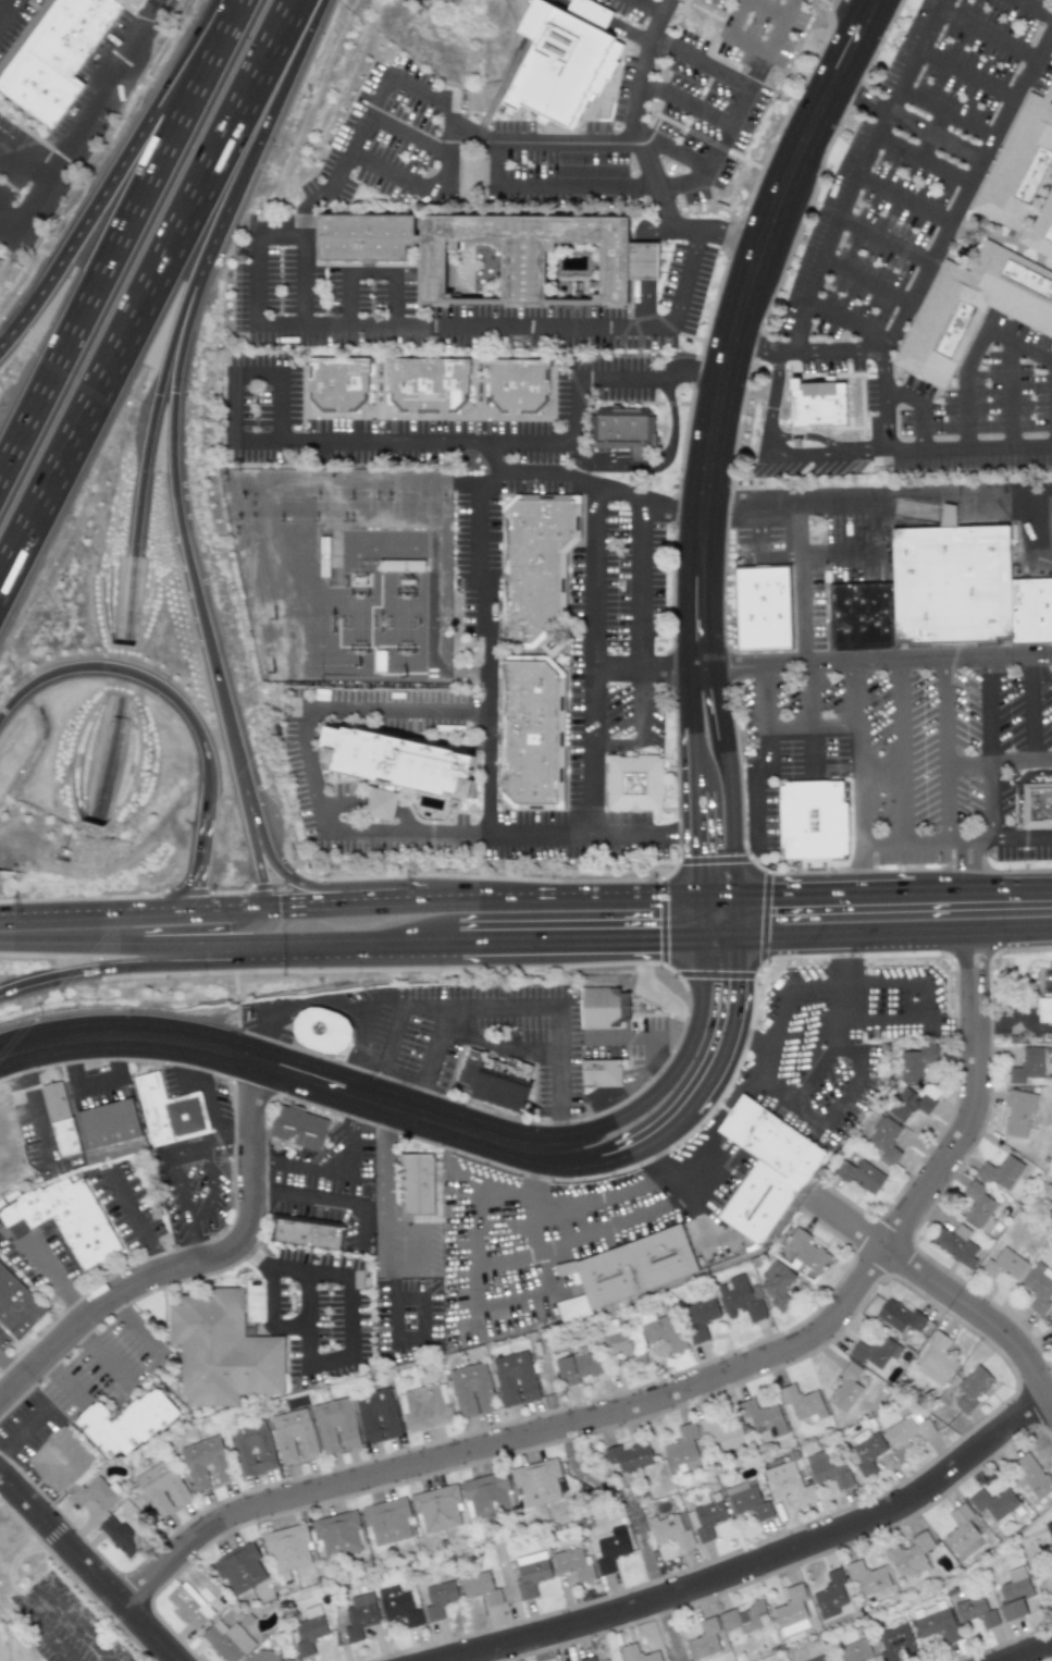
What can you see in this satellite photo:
road: (4, 0)
road: (2, 4)
road: (647, 7)
road: (767, 9)
road: (1032, 9)
road: (151, 16)
road: (737, 17)
road: (607, 20)
road: (656, 20)
road: (840, 29)
road: (988, 32)
parking lot: (765, 35)
road: (775, 35)
road: (747, 46)
building: (65, 58)
building: (562, 60)
road: (707, 67)
road: (966, 74)
road: (391, 77)
road: (683, 102)
road: (945, 114)
road: (908, 122)
road: (632, 128)
road: (79, 131)
road: (406, 133)
road: (610, 139)
road: (921, 160)
building: (1027, 163)
road: (23, 168)
road: (856, 171)
road: (123, 176)
road: (329, 186)
road: (523, 188)
road: (903, 198)
road: (9, 222)
road: (301, 223)
road: (717, 232)
building: (1047, 232)
road: (944, 233)
road: (280, 234)
road: (882, 238)
road: (125, 245)
road: (645, 270)
road: (370, 272)
building: (640, 273)
road: (256, 279)
road: (302, 280)
road: (865, 280)
building: (1017, 294)
road: (151, 295)
road: (347, 299)
road: (394, 299)
road: (740, 321)
road: (847, 321)
road: (513, 327)
building: (939, 329)
traffic signals: (174, 333)
road: (1018, 345)
road: (809, 349)
road: (257, 373)
road: (651, 377)
road: (963, 386)
building: (344, 387)
building: (434, 389)
building: (524, 389)
traffic signals: (157, 395)
road: (1011, 395)
building: (817, 404)
road: (234, 406)
road: (280, 406)
road: (918, 409)
road: (574, 410)
building: (630, 431)
road: (148, 433)
road: (809, 436)
road: (671, 438)
road: (404, 441)
road: (969, 448)
road: (777, 456)
road: (493, 458)
road: (597, 462)
road: (172, 471)
road: (604, 487)
road: (878, 495)
road: (1030, 522)
power tower: (350, 524)
road: (760, 545)
road: (866, 553)
building: (543, 568)
power substation: (347, 573)
road: (801, 580)
building: (951, 582)
road: (642, 585)
building: (1031, 606)
building: (769, 613)
building: (861, 615)
power tower: (330, 629)
road: (486, 643)
road: (593, 660)
power tower: (327, 661)
road: (822, 663)
road: (144, 678)
road: (686, 697)
road: (1029, 708)
road: (810, 716)
road: (814, 728)
road: (643, 729)
building: (539, 737)
road: (989, 748)
road: (942, 749)
road: (902, 751)
road: (686, 759)
road: (107, 760)
road: (767, 760)
road: (1020, 761)
building: (401, 763)
road: (966, 764)
road: (310, 765)
road: (739, 771)
road: (862, 771)
building: (640, 787)
road: (1017, 789)
building: (1037, 804)
building: (820, 825)
road: (587, 836)
road: (691, 837)
road: (957, 841)
traffic signals: (691, 852)
road: (255, 854)
road: (201, 858)
road: (969, 860)
road: (994, 876)
road: (839, 882)
road: (716, 885)
traffic signals: (778, 885)
road: (559, 886)
road: (394, 890)
road: (312, 895)
traffic signals: (263, 897)
traffic signals: (190, 899)
road: (131, 900)
road: (692, 919)
road: (230, 932)
road: (895, 946)
road: (716, 951)
road: (71, 952)
road: (578, 953)
traffic signals: (654, 953)
road: (163, 955)
road: (209, 958)
road: (347, 958)
road: (114, 972)
traffic signals: (739, 984)
road: (383, 1000)
road: (924, 1004)
road: (332, 1005)
building: (604, 1007)
road: (505, 1008)
building: (1044, 1010)
building: (322, 1031)
road: (616, 1036)
road: (752, 1037)
road: (502, 1046)
road: (431, 1060)
road: (661, 1062)
building: (916, 1062)
building: (1027, 1065)
road: (819, 1066)
road: (717, 1068)
road: (389, 1071)
road: (288, 1072)
road: (666, 1072)
building: (599, 1073)
building: (495, 1080)
road: (97, 1086)
road: (845, 1096)
building: (913, 1102)
road: (36, 1109)
road: (725, 1109)
building: (169, 1112)
building: (1018, 1112)
building: (59, 1119)
road: (218, 1123)
building: (108, 1124)
building: (297, 1127)
building: (884, 1139)
road: (237, 1140)
building: (764, 1169)
road: (669, 1172)
building: (1001, 1172)
road: (342, 1173)
building: (861, 1177)
building: (416, 1183)
road: (214, 1191)
road: (477, 1192)
road: (321, 1201)
building: (978, 1205)
road: (186, 1207)
road: (388, 1217)
building: (65, 1218)
road: (135, 1219)
road: (359, 1225)
building: (306, 1232)
building: (954, 1244)
road: (562, 1245)
building: (807, 1252)
road: (191, 1264)
building: (1003, 1265)
building: (628, 1268)
road: (53, 1279)
building: (776, 1285)
road: (547, 1288)
building: (1038, 1288)
road: (945, 1293)
building: (740, 1300)
building: (16, 1306)
road: (269, 1315)
building: (898, 1315)
building: (700, 1317)
road: (348, 1326)
building: (1050, 1328)
road: (136, 1330)
building: (660, 1330)
building: (620, 1343)
building: (221, 1350)
road: (109, 1352)
building: (876, 1352)
building: (936, 1361)
building: (578, 1368)
road: (9, 1374)
building: (515, 1378)
road: (64, 1385)
building: (845, 1388)
building: (970, 1388)
building: (470, 1390)
road: (671, 1394)
building: (802, 1403)
building: (423, 1407)
building: (376, 1415)
building: (763, 1419)
building: (125, 1423)
building: (334, 1425)
building: (907, 1430)
building: (721, 1435)
building: (293, 1436)
road: (24, 1438)
building: (682, 1445)
building: (252, 1448)
building: (866, 1451)
building: (628, 1455)
building: (60, 1461)
building: (205, 1462)
building: (827, 1467)
building: (1031, 1476)
building: (536, 1482)
building: (788, 1482)
building: (161, 1488)
building: (96, 1493)
building: (486, 1494)
road: (626, 1499)
building: (747, 1501)
building: (993, 1502)
building: (436, 1509)
building: (706, 1517)
building: (386, 1521)
building: (1049, 1529)
building: (671, 1530)
building: (337, 1535)
building: (119, 1537)
building: (287, 1548)
building: (610, 1549)
building: (911, 1554)
road: (762, 1561)
building: (573, 1564)
building: (239, 1567)
road: (89, 1568)
building: (531, 1573)
building: (867, 1577)
road: (44, 1587)
building: (480, 1588)
building: (1014, 1594)
building: (830, 1595)
building: (438, 1599)
building: (187, 1605)
building: (397, 1605)
building: (975, 1611)
building: (791, 1612)
building: (359, 1615)
building: (745, 1617)
building: (935, 1622)
road: (668, 1629)
building: (308, 1631)
building: (227, 1640)
building: (703, 1640)
building: (895, 1642)
building: (854, 1651)
road: (1030, 1652)
building: (636, 1653)
building: (261, 1657)
building: (820, 1658)
building: (587, 1659)

